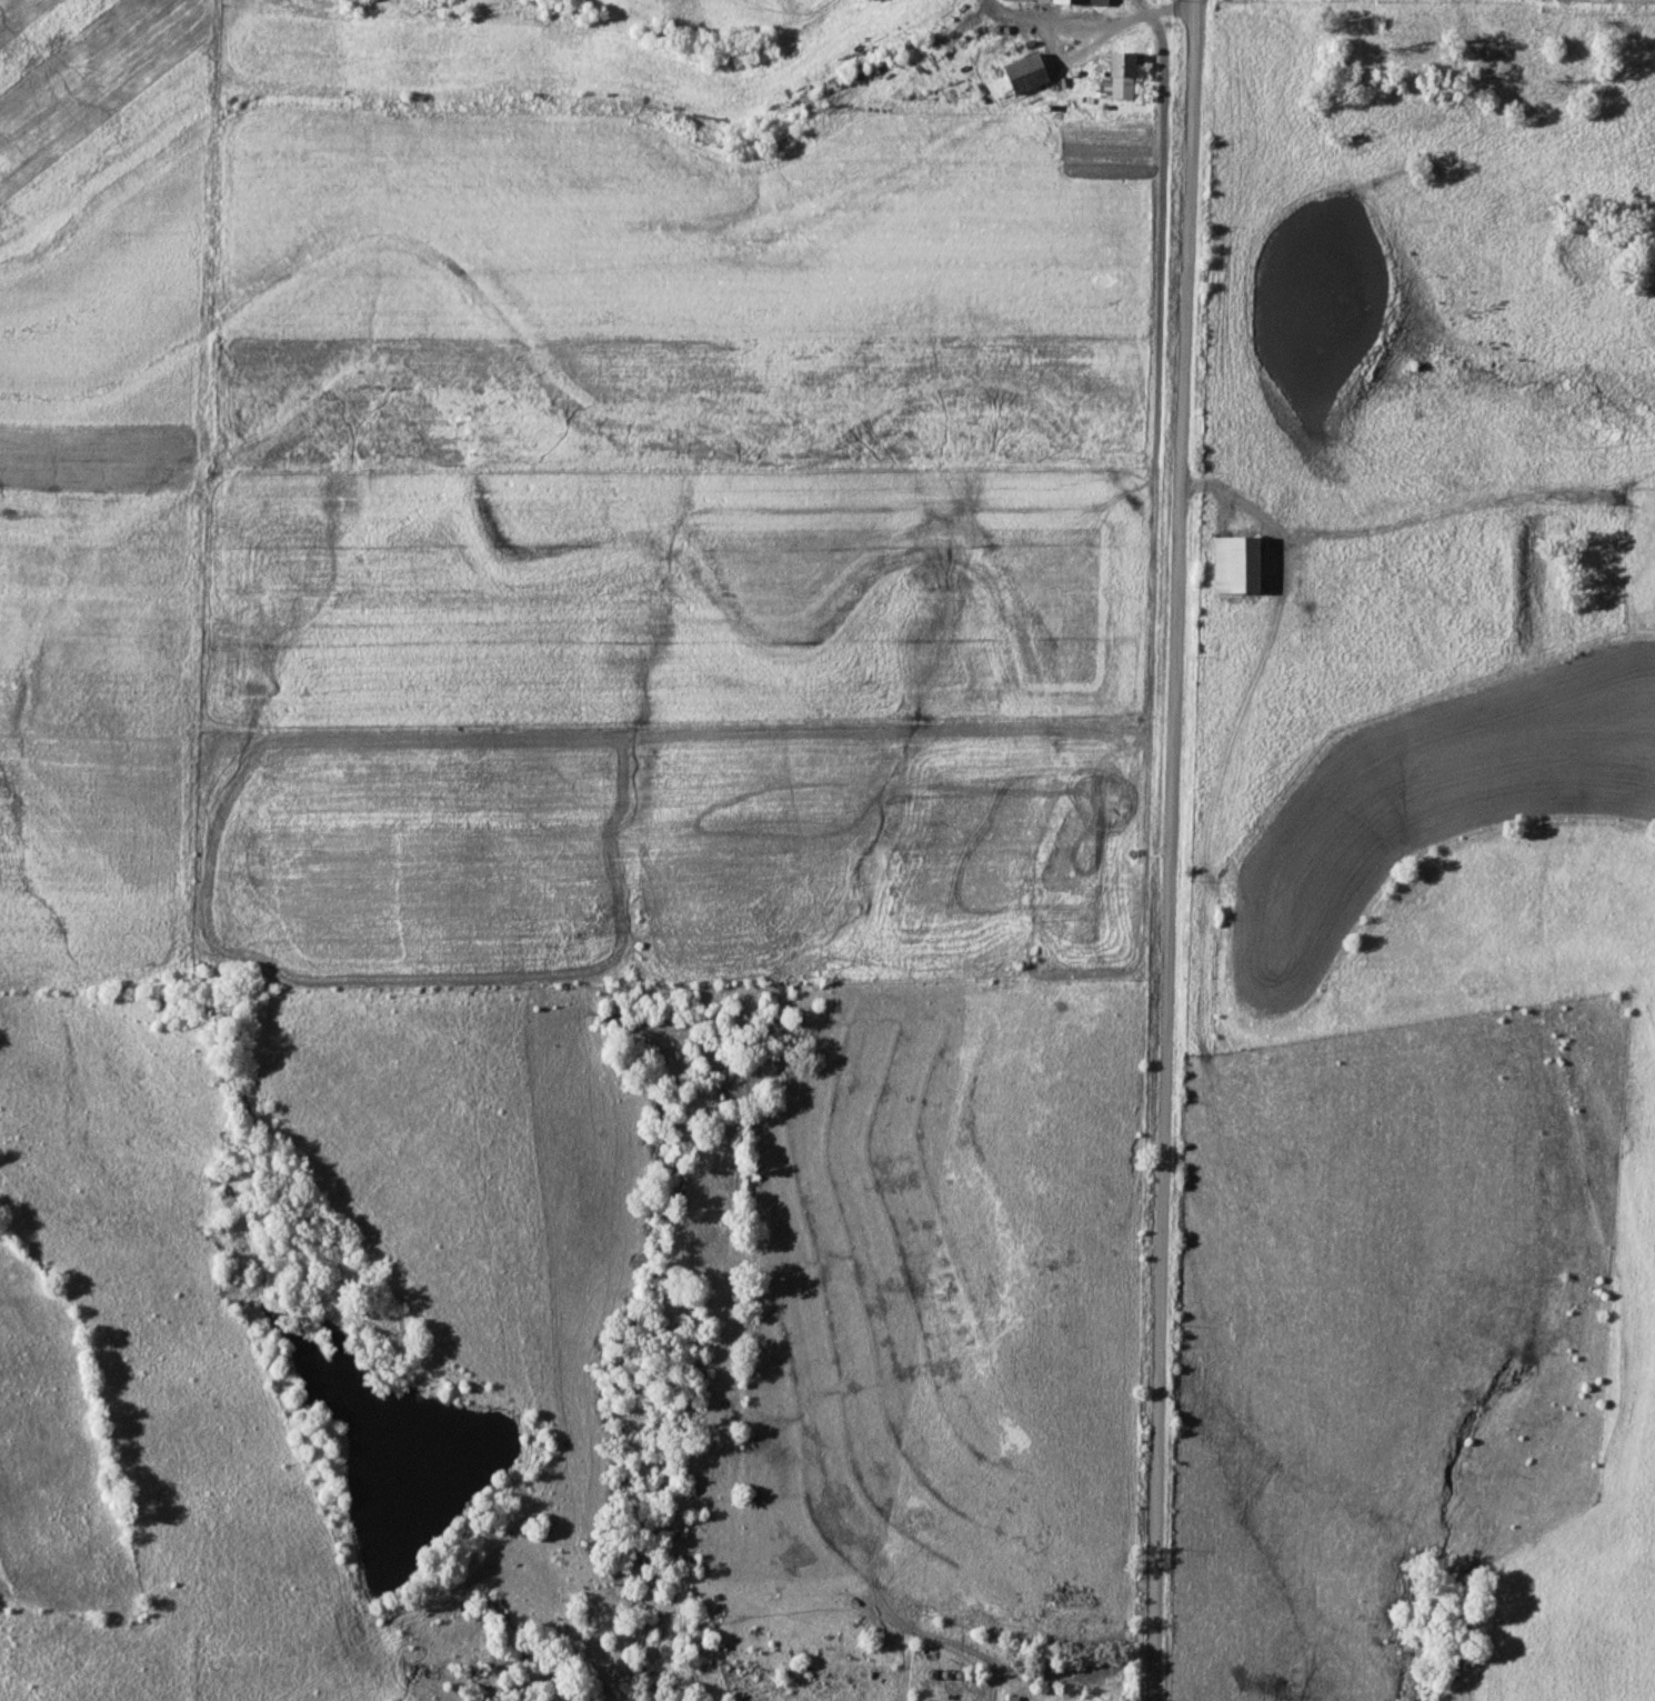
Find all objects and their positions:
building: (1420, 44)
building: (1236, 566)
road: (1172, 850)

